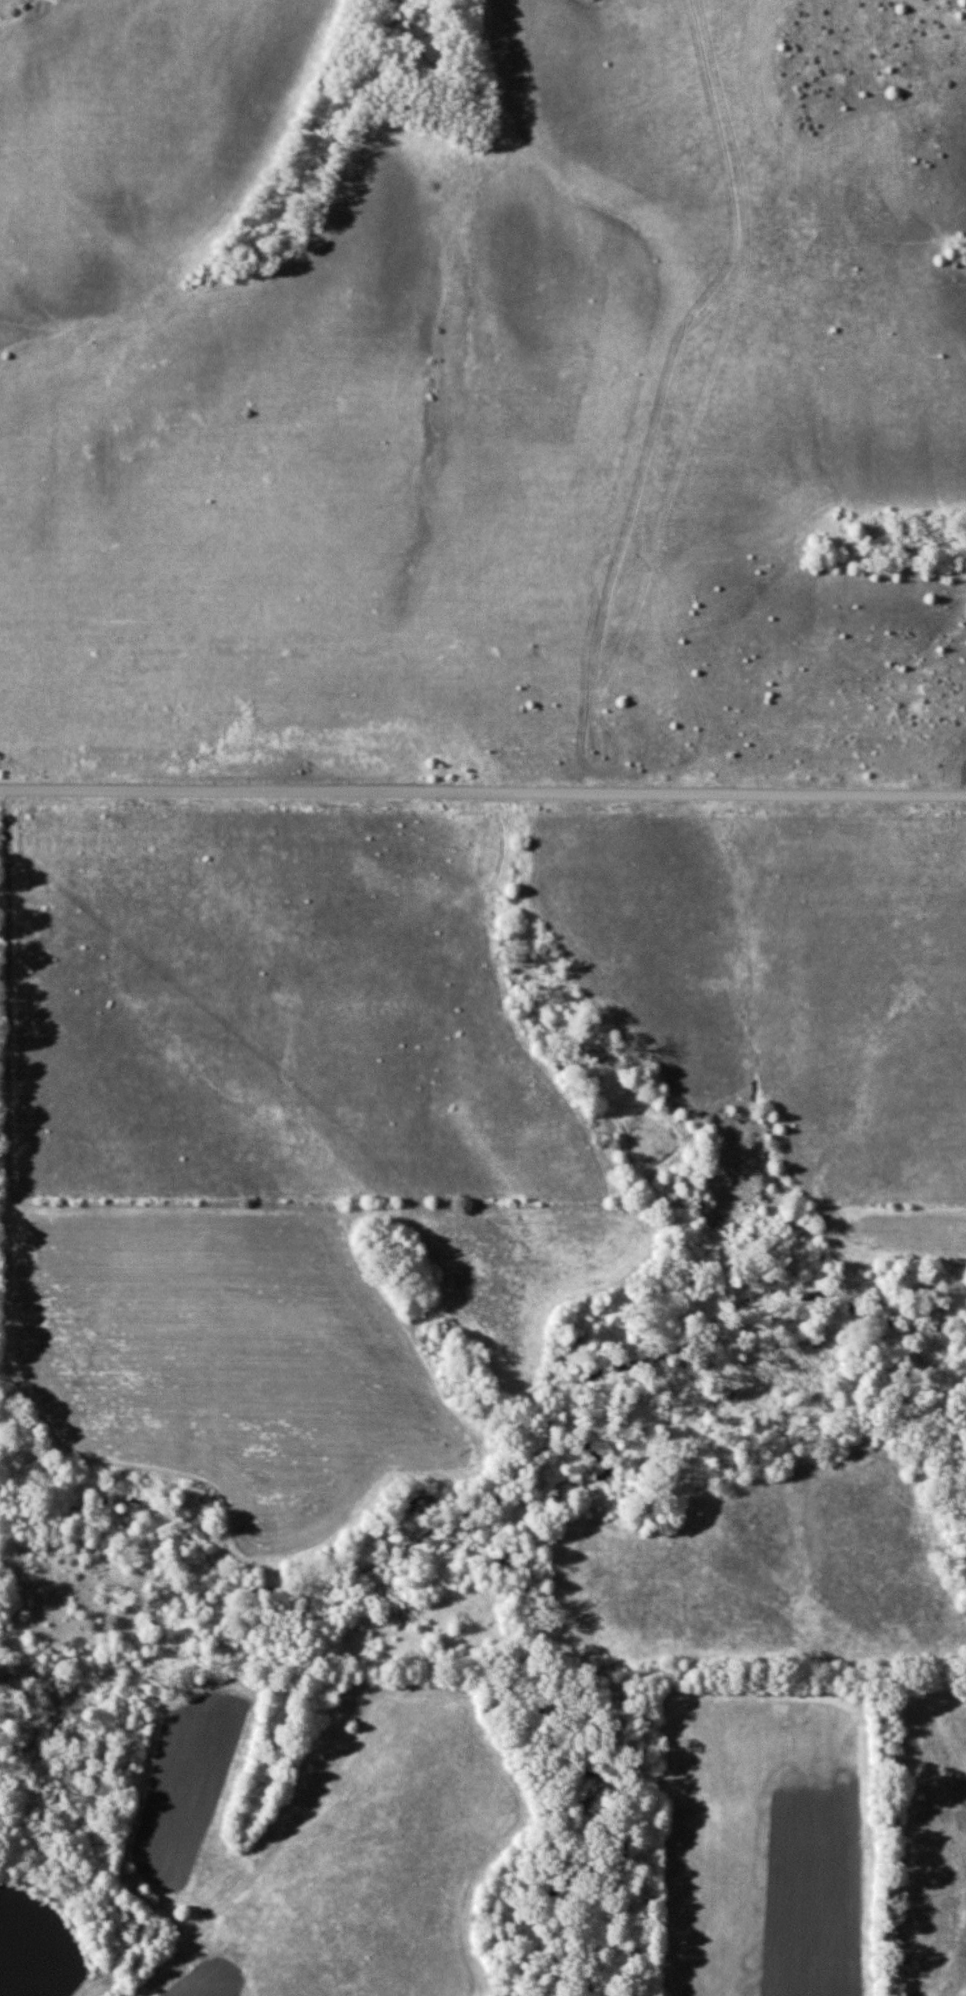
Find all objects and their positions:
road: (483, 786)

